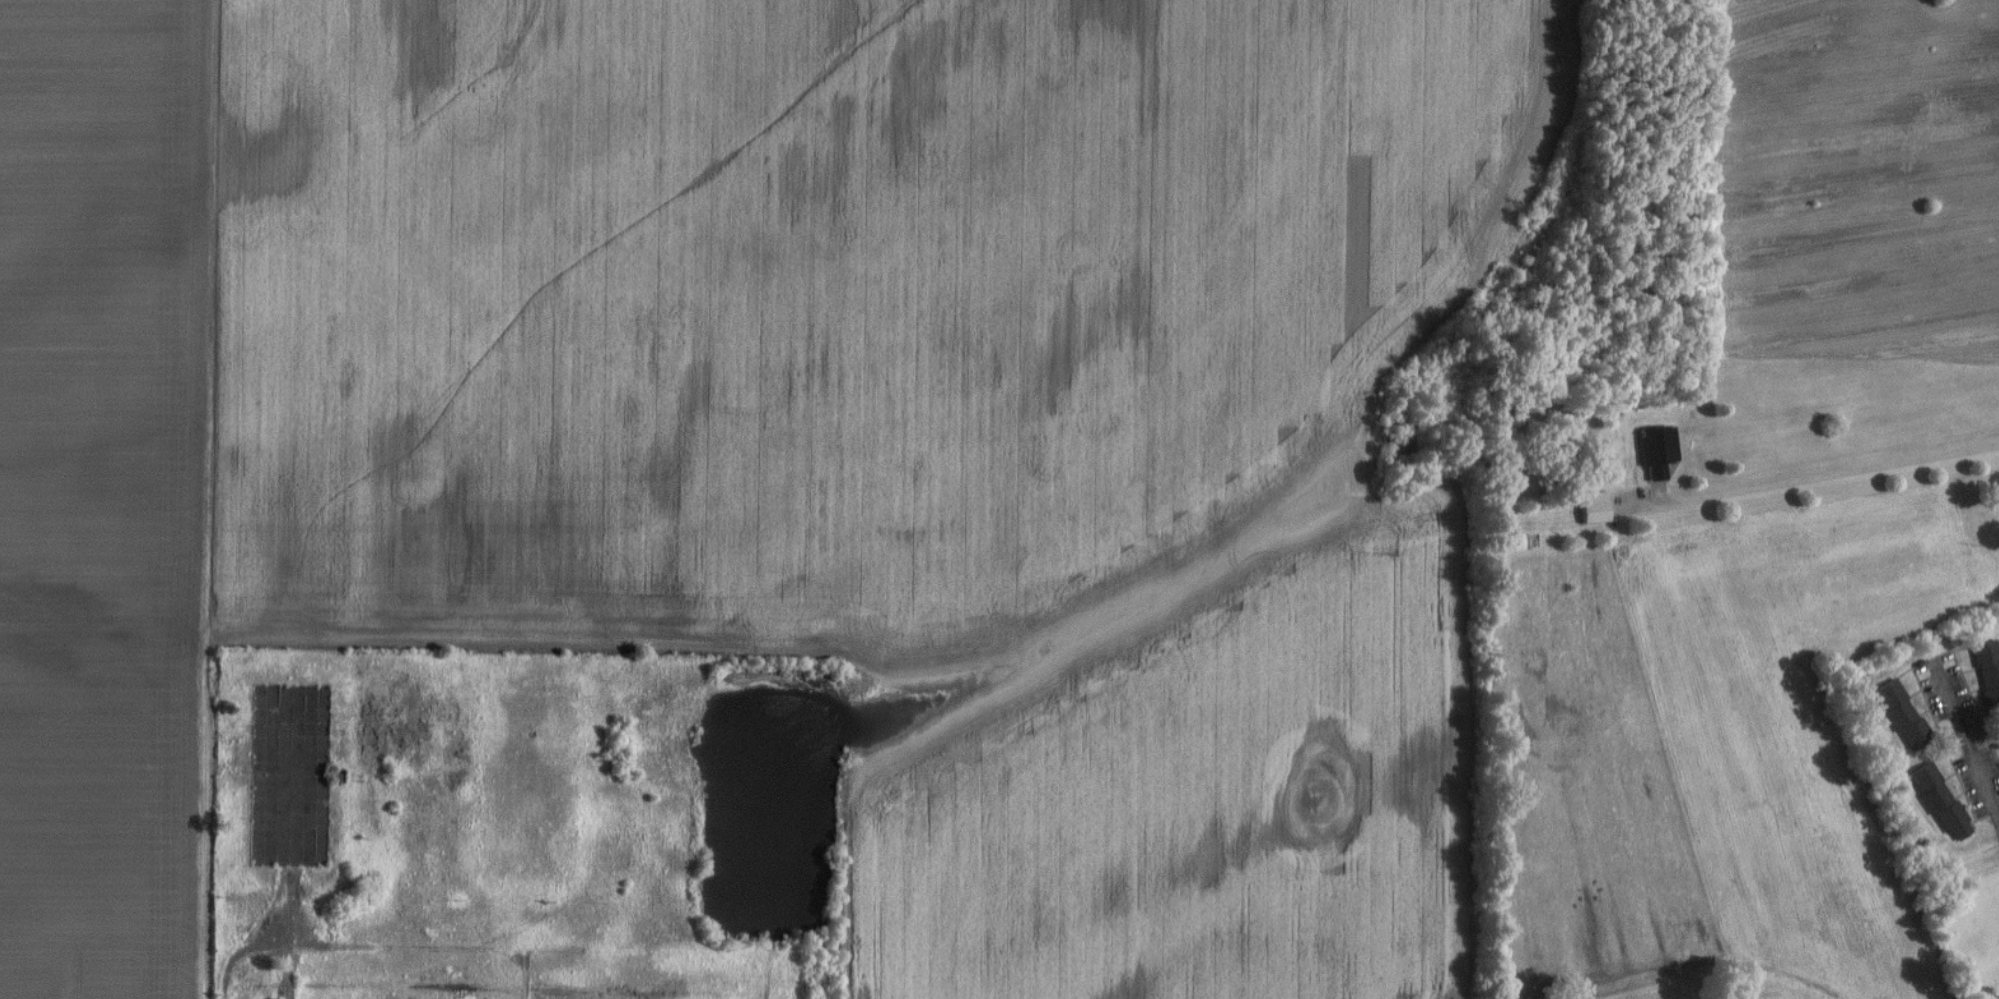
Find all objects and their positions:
road: (1903, 145)
building: (1657, 450)
road: (1822, 479)
building: (1594, 507)
building: (1988, 669)
building: (1902, 714)
road: (1963, 743)
building: (1941, 801)
road: (264, 944)

